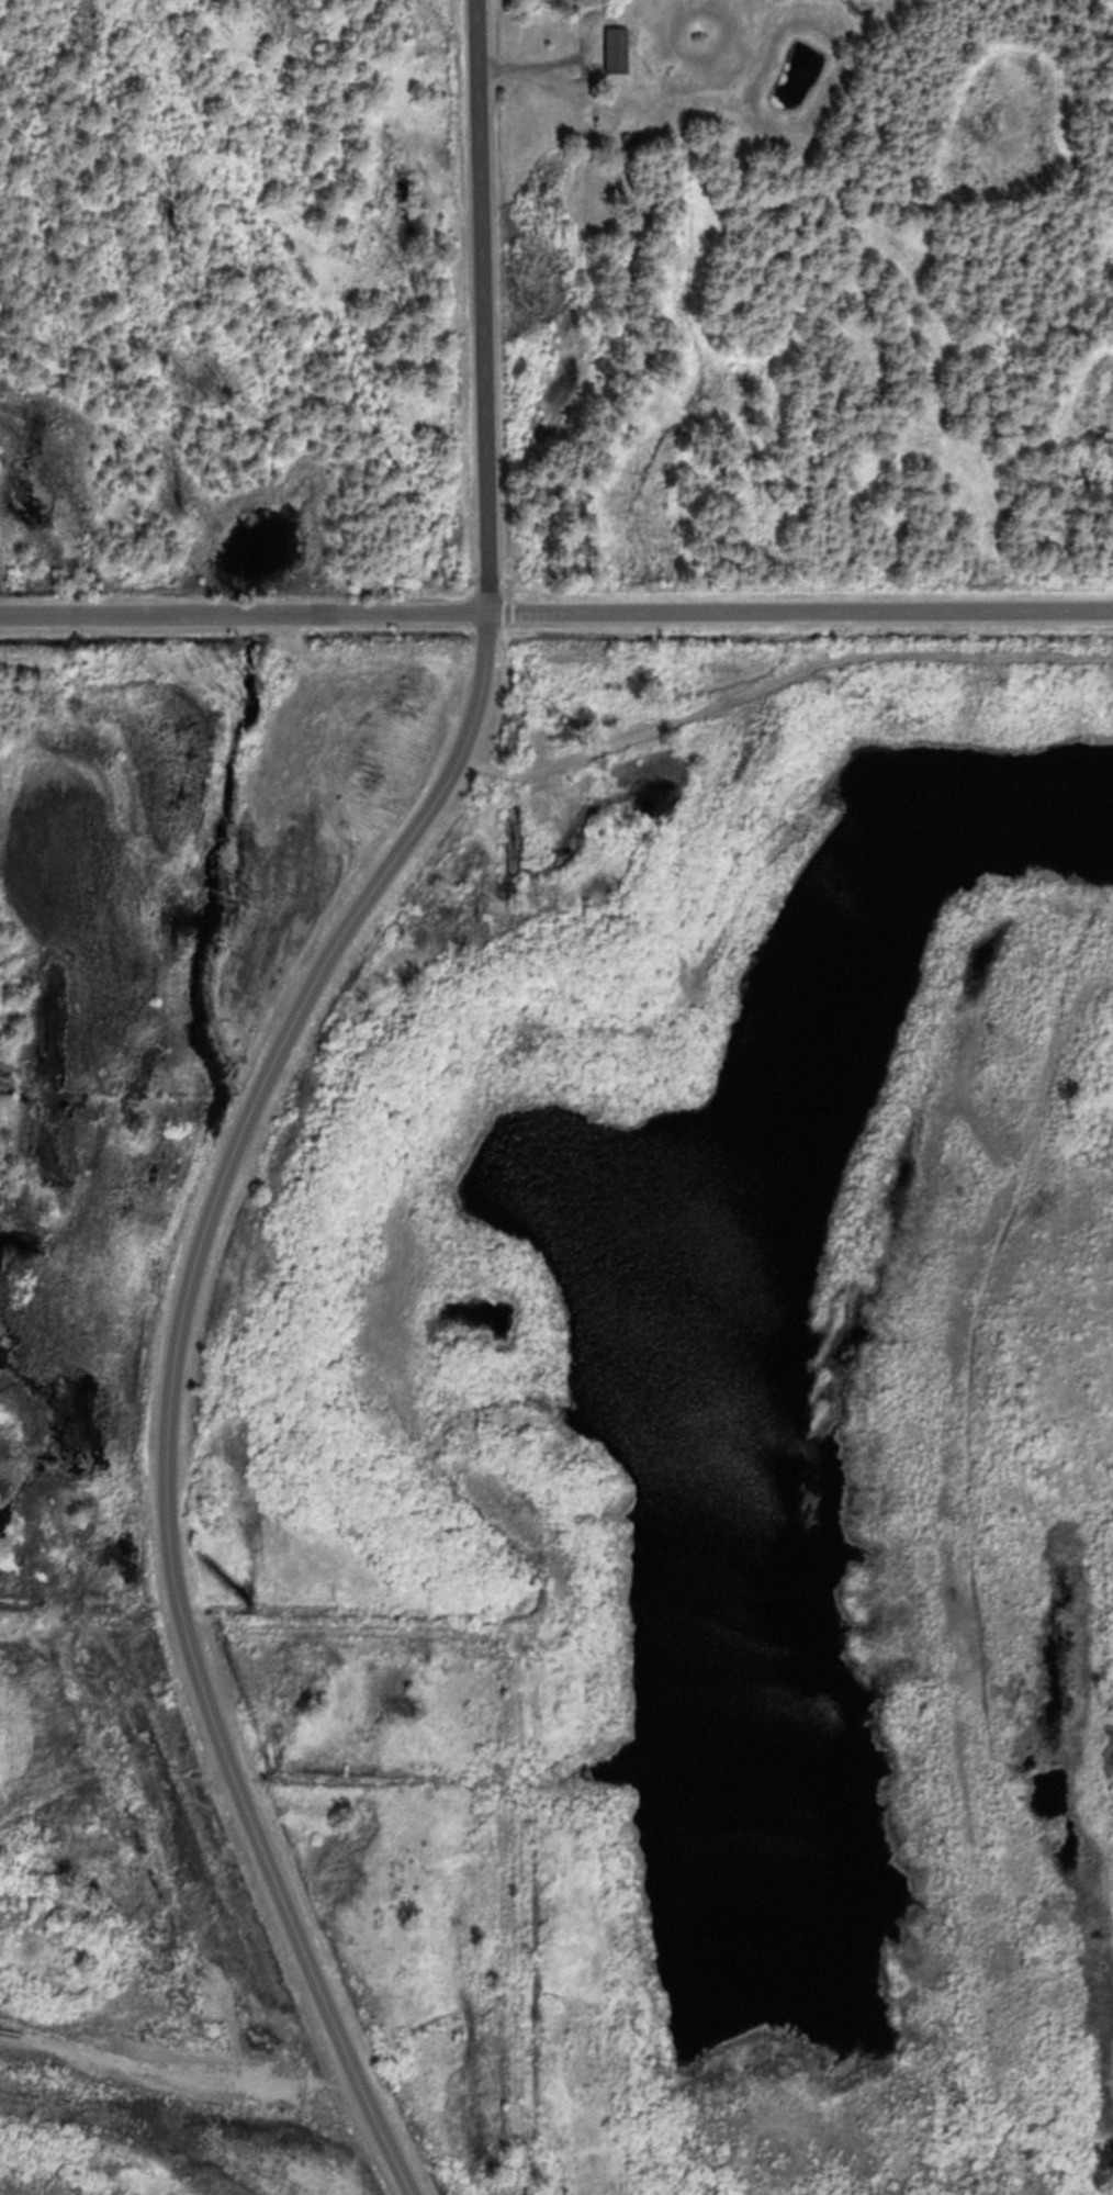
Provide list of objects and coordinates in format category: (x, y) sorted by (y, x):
building: (621, 41)
road: (244, 607)
road: (800, 608)
road: (777, 680)
road: (418, 828)
road: (284, 1906)
road: (134, 2061)

